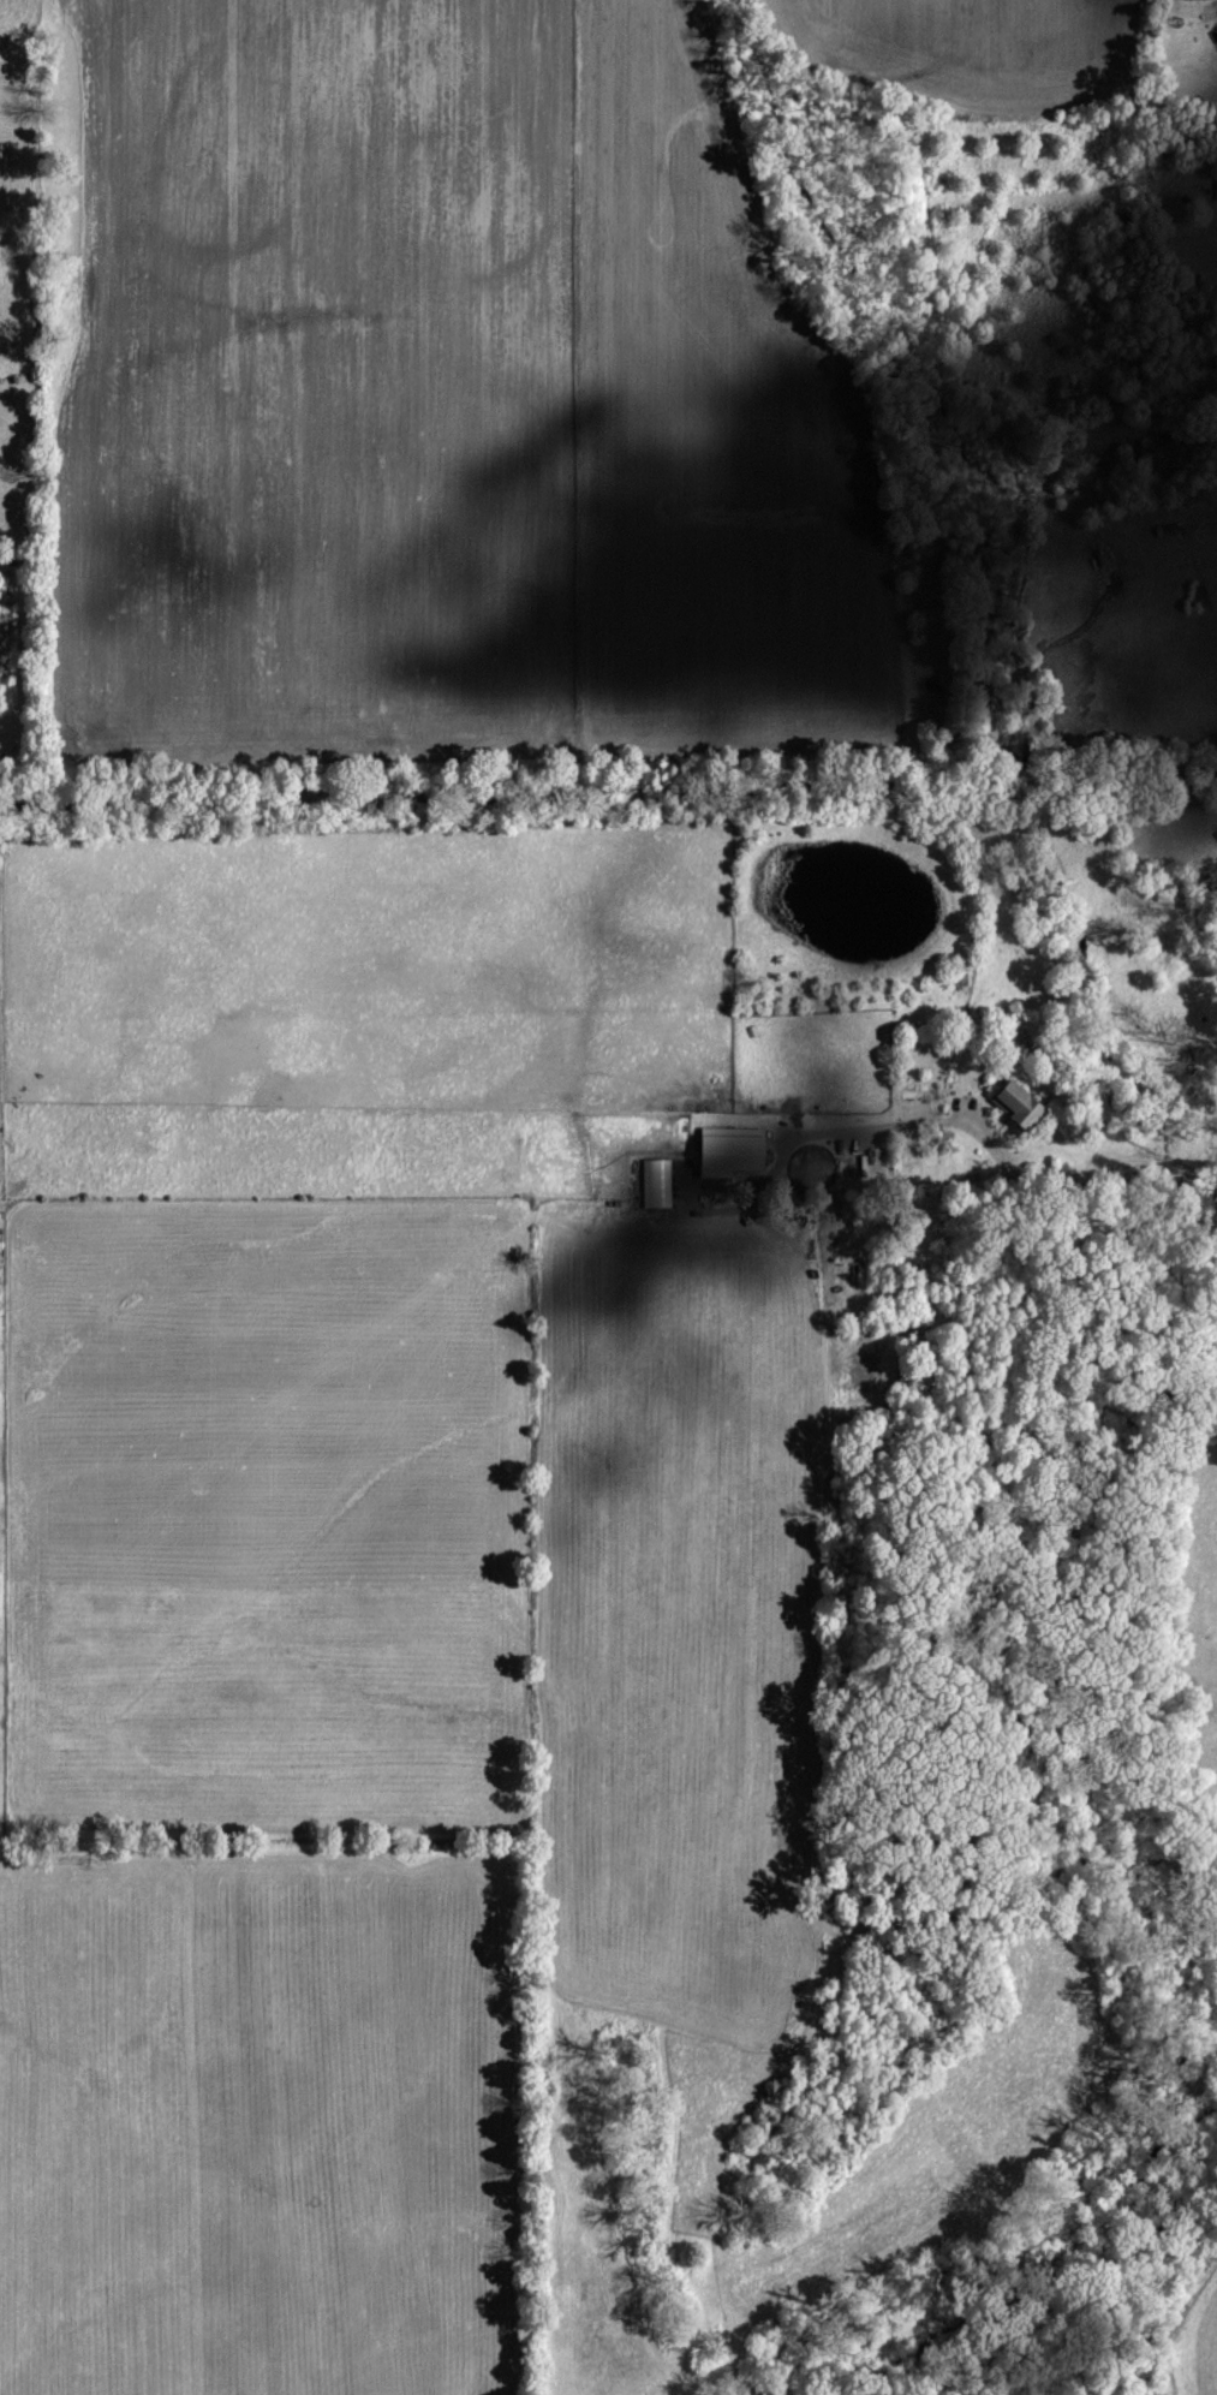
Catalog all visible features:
building: (1216, 199)
building: (1024, 1106)
building: (735, 1154)

